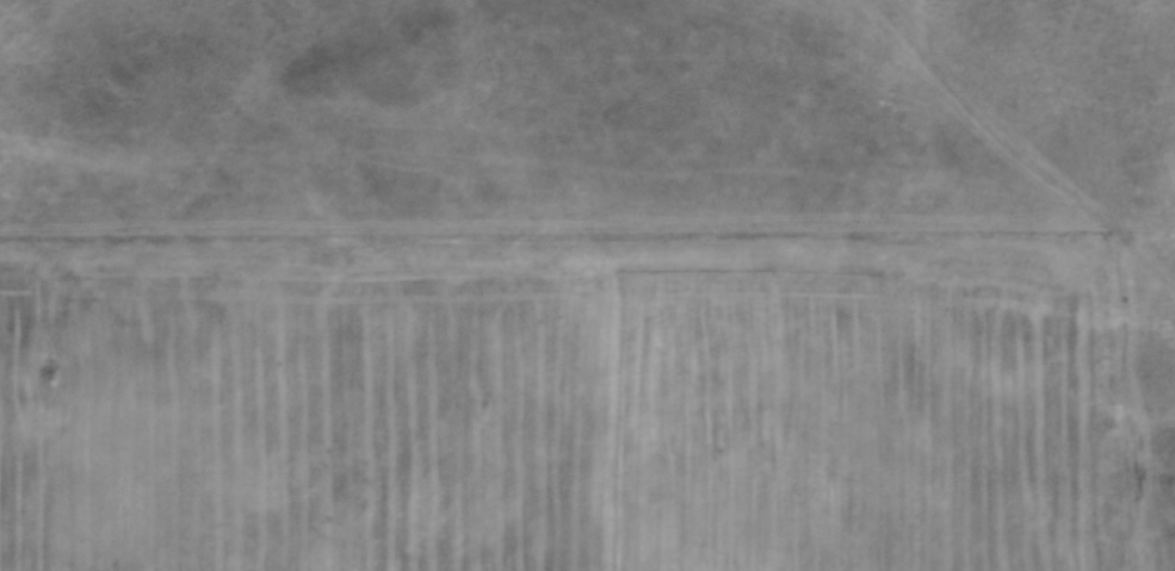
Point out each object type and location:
road: (1101, 424)

